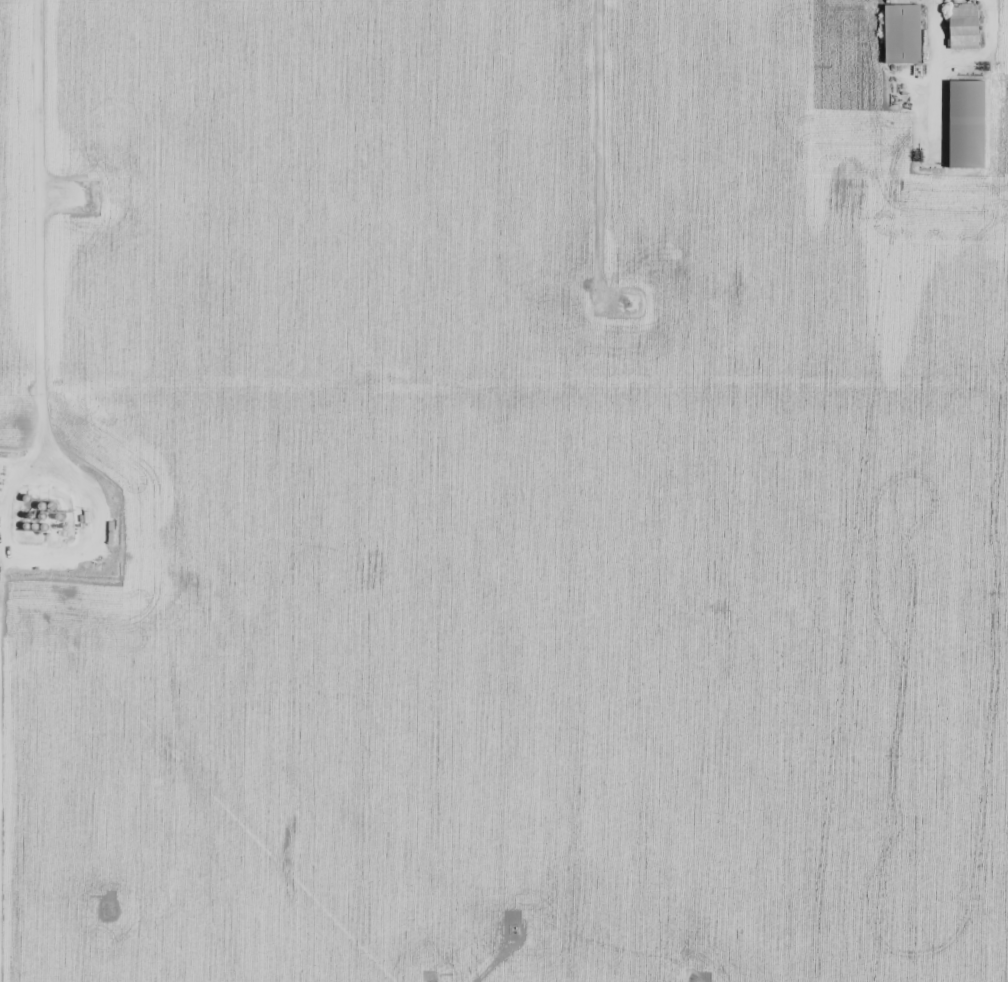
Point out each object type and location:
building: (965, 26)
building: (903, 34)
building: (967, 124)

